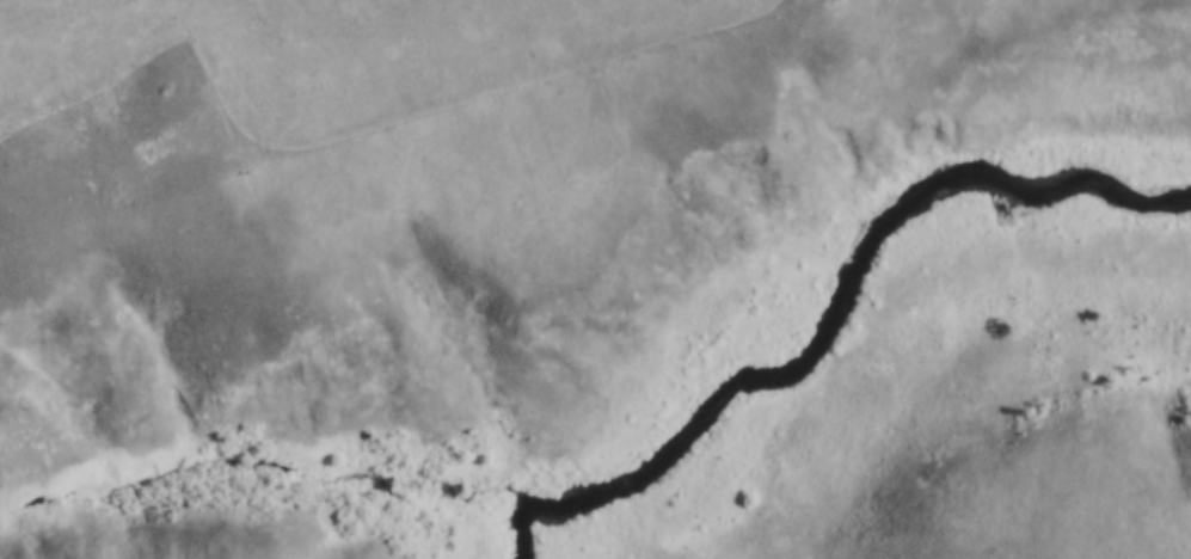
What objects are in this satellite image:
park: (1012, 279)

